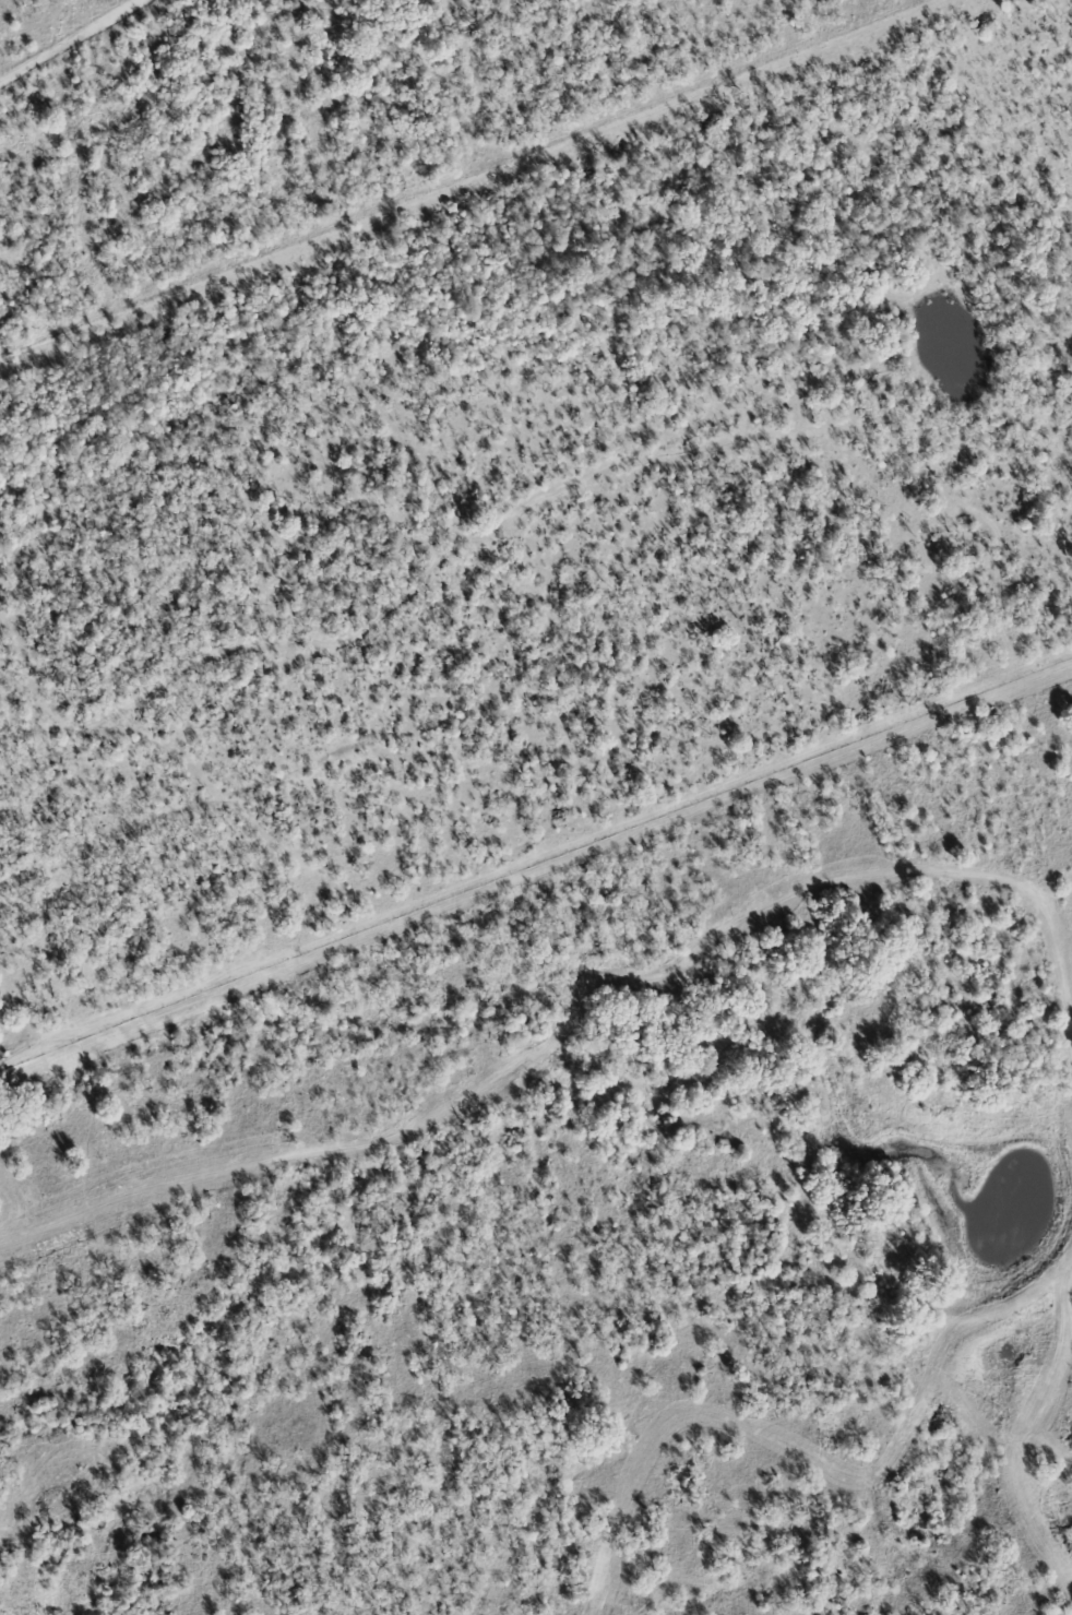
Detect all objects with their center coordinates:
road: (70, 41)

